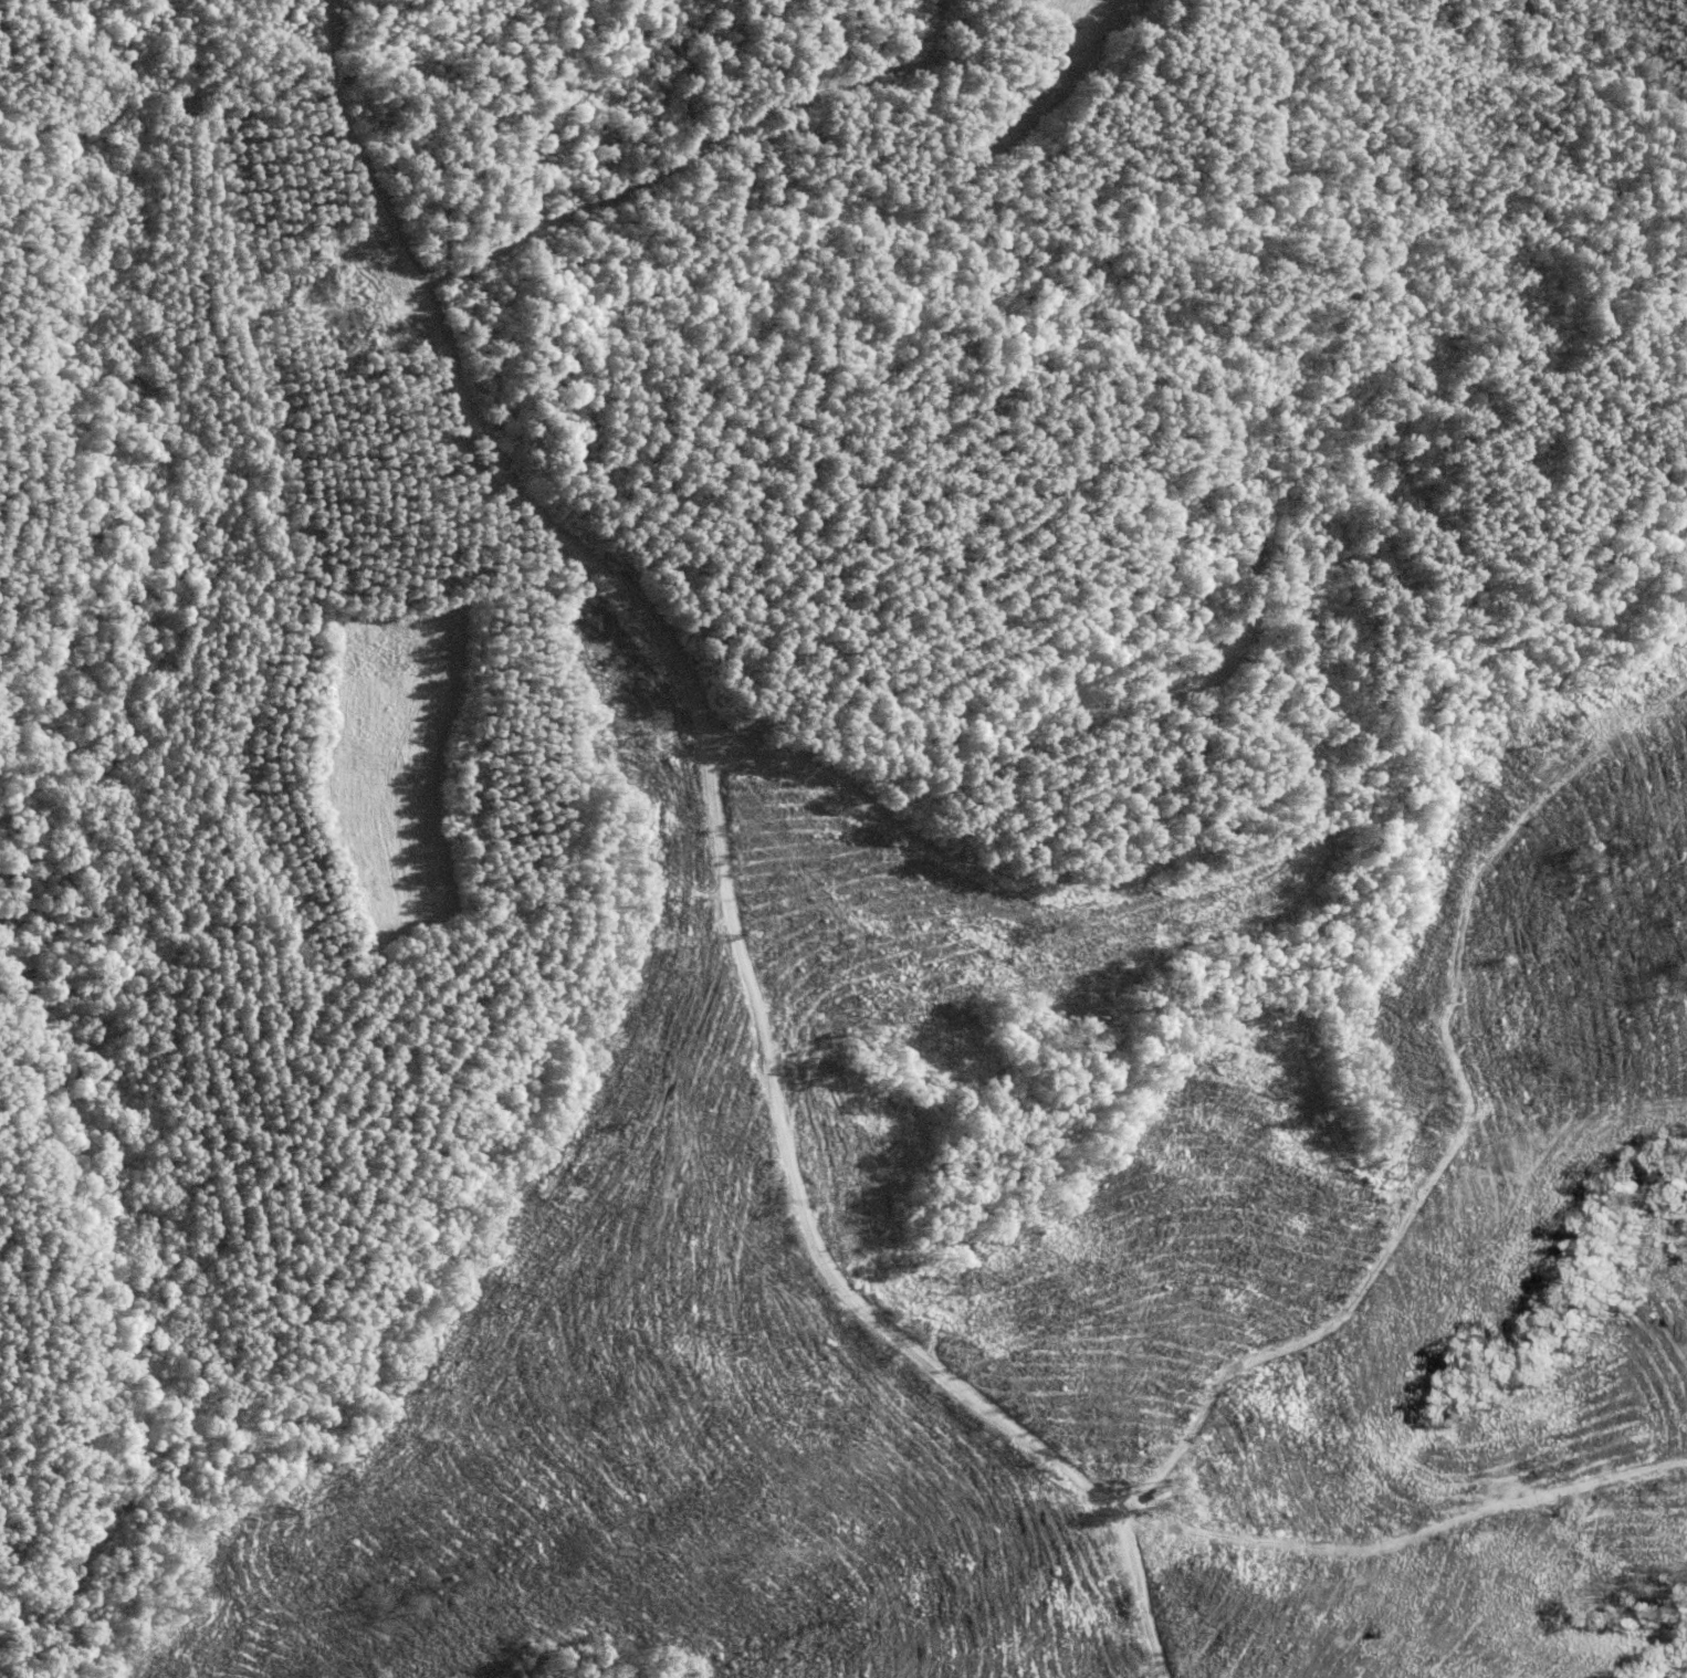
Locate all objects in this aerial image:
road: (713, 861)
building: (1149, 1496)

